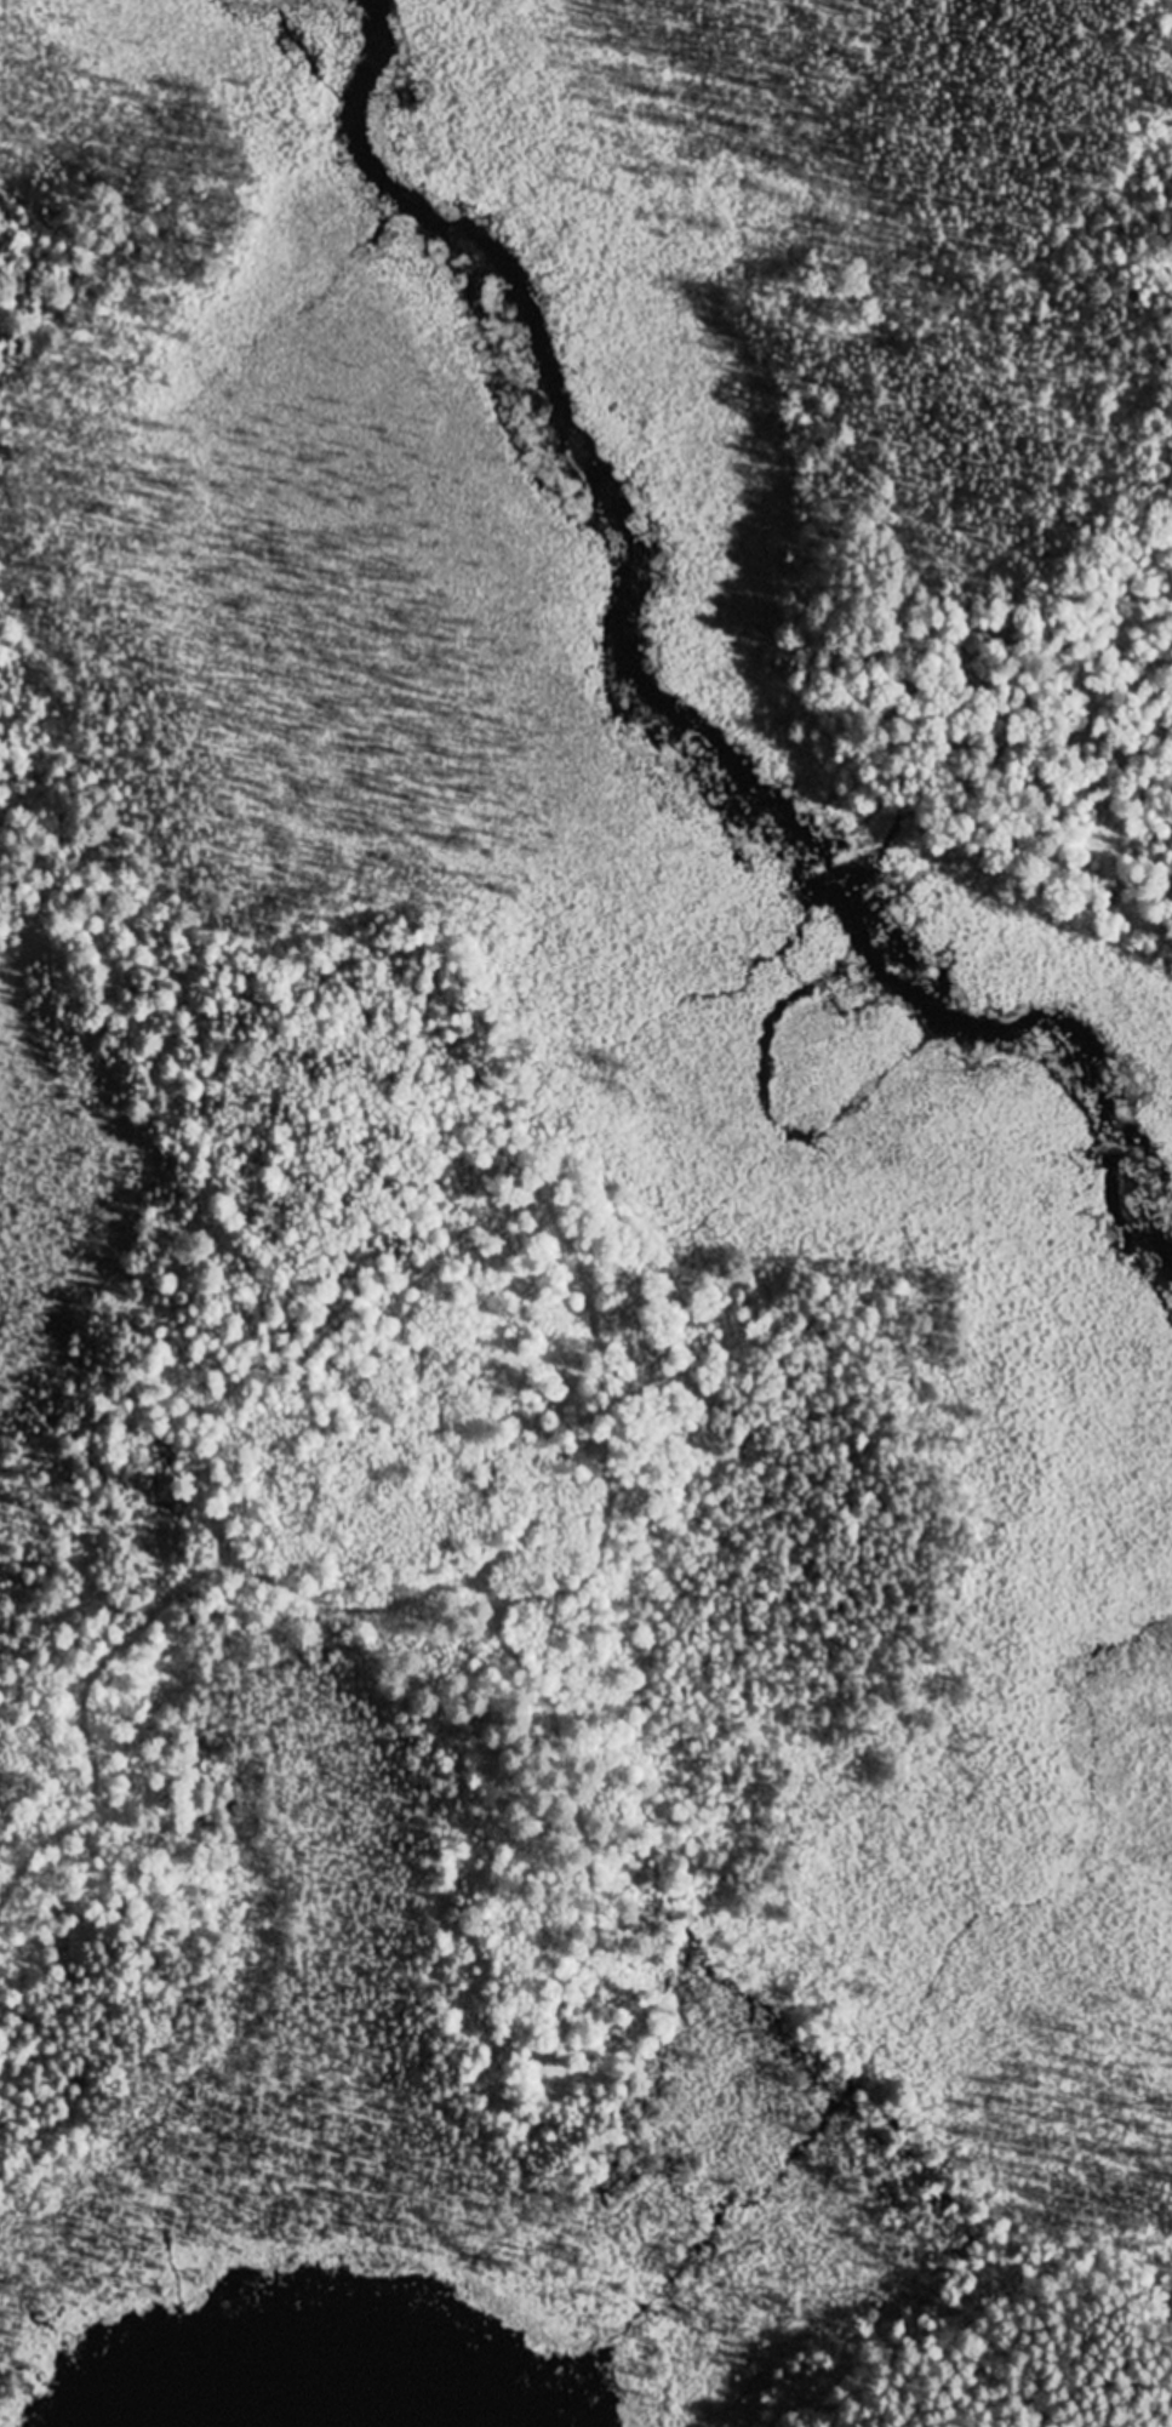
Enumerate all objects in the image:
building: (544, 2054)

